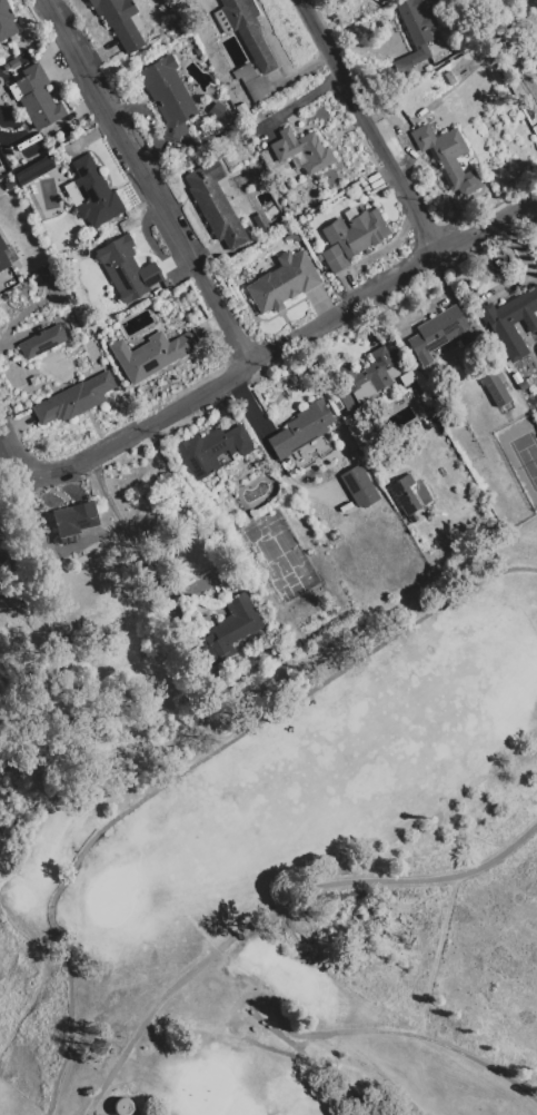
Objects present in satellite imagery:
building: (7, 21)
building: (119, 21)
building: (246, 30)
building: (415, 32)
building: (11, 65)
building: (251, 81)
building: (168, 97)
building: (36, 98)
building: (217, 109)
building: (241, 109)
road: (372, 127)
building: (301, 151)
building: (447, 157)
building: (34, 170)
road: (147, 182)
building: (10, 185)
building: (92, 194)
building: (215, 204)
building: (261, 223)
building: (292, 237)
building: (351, 238)
building: (3, 257)
building: (127, 269)
building: (47, 274)
building: (284, 283)
building: (4, 297)
building: (513, 322)
building: (439, 333)
road: (295, 341)
building: (42, 342)
building: (152, 354)
building: (406, 375)
building: (364, 378)
building: (34, 381)
building: (523, 385)
building: (496, 389)
building: (73, 399)
building: (301, 430)
road: (2, 434)
road: (17, 448)
building: (212, 450)
building: (359, 486)
building: (406, 495)
building: (74, 521)
road: (137, 550)
building: (229, 630)
road: (183, 771)
park: (300, 885)
park: (110, 897)
road: (272, 908)
road: (394, 1034)
road: (309, 1057)
road: (371, 1068)
park: (205, 1088)
building: (120, 1107)

